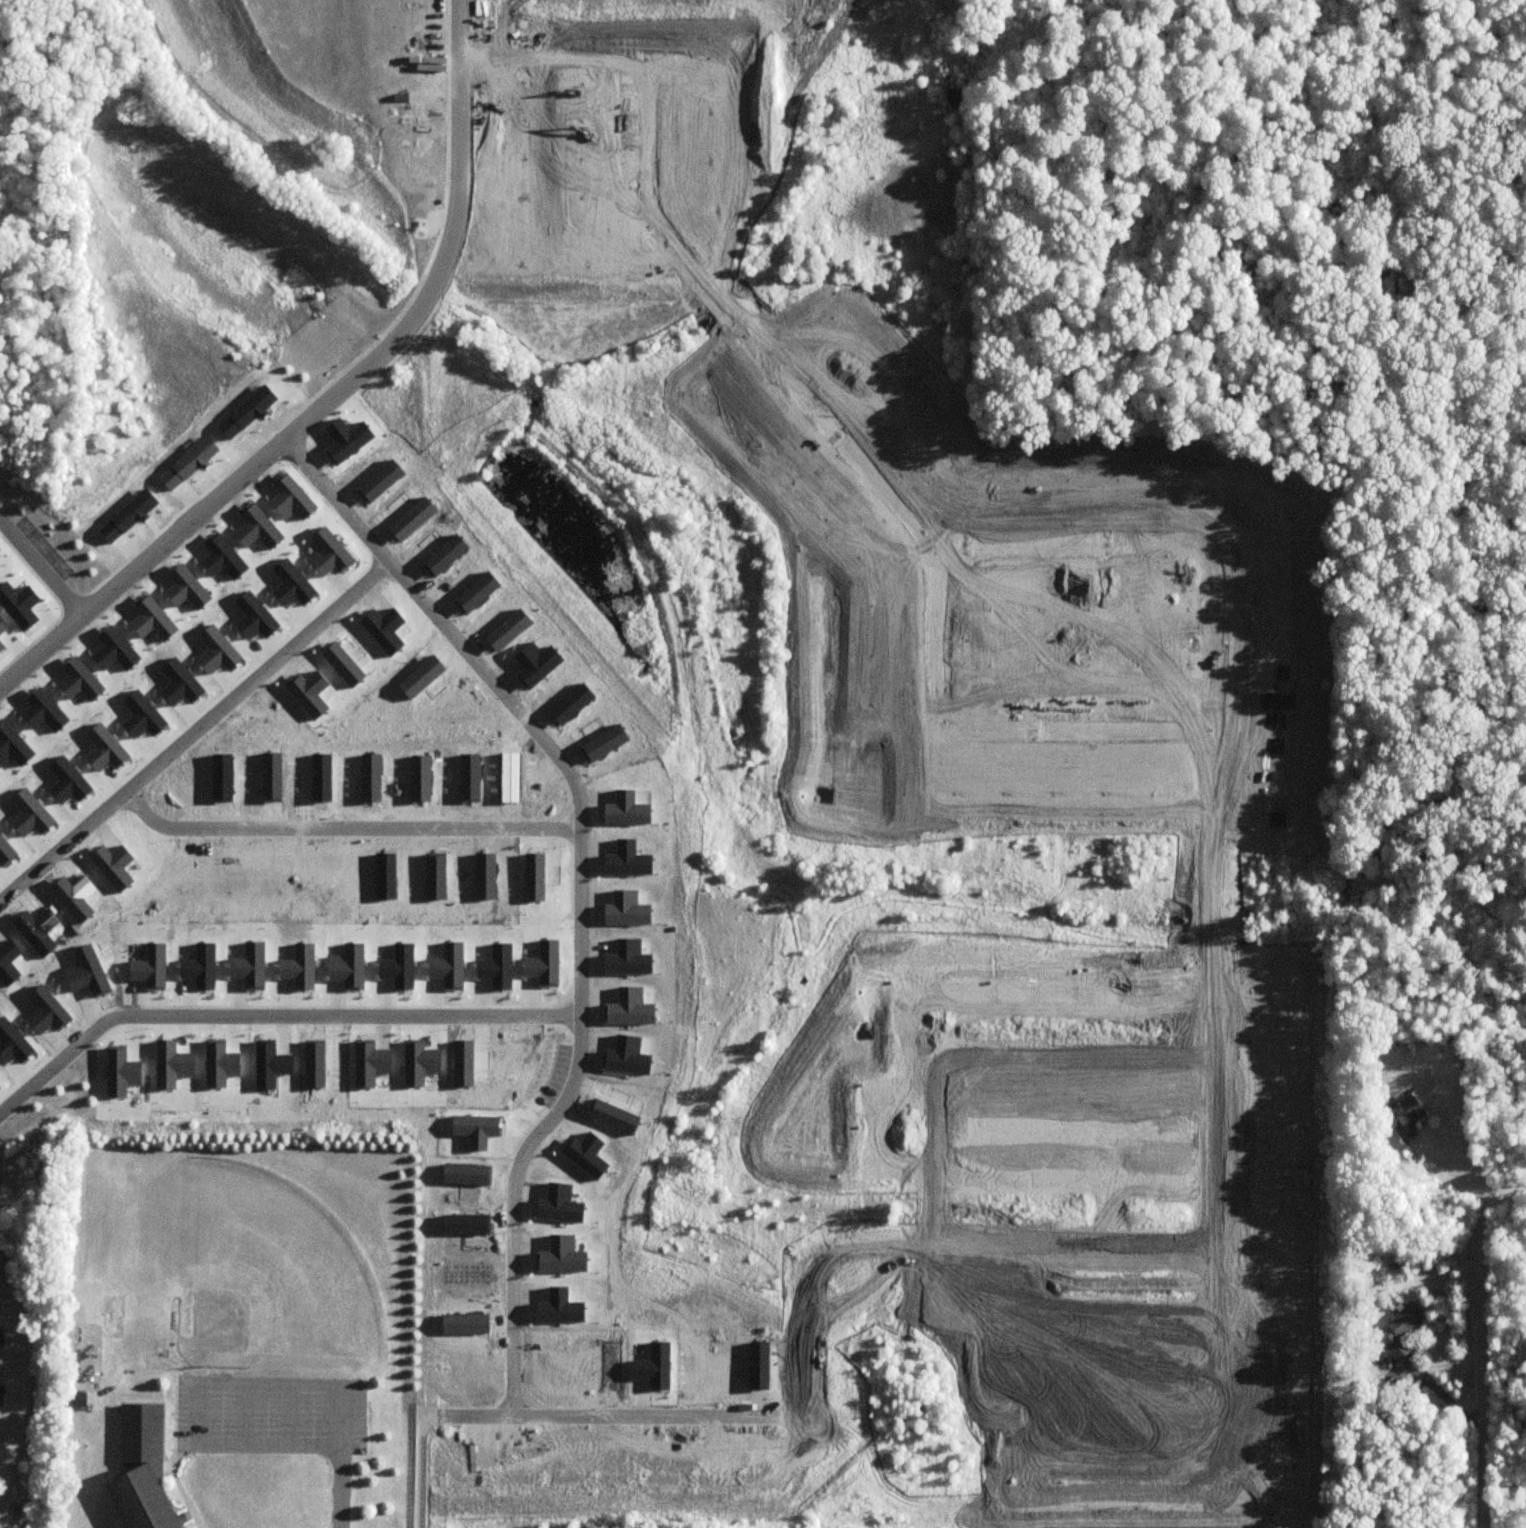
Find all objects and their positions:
road: (328, 393)
road: (333, 496)
road: (40, 569)
road: (342, 824)
road: (577, 833)
road: (271, 1012)
building: (1405, 1118)
park: (263, 1272)
building: (1401, 1329)
road: (1482, 1338)
road: (193, 1379)
building: (1375, 1392)
parking lot: (268, 1407)
road: (173, 1410)
road: (242, 1412)
road: (288, 1413)
road: (421, 1426)
building: (143, 1466)
road: (178, 1477)
road: (339, 1488)

